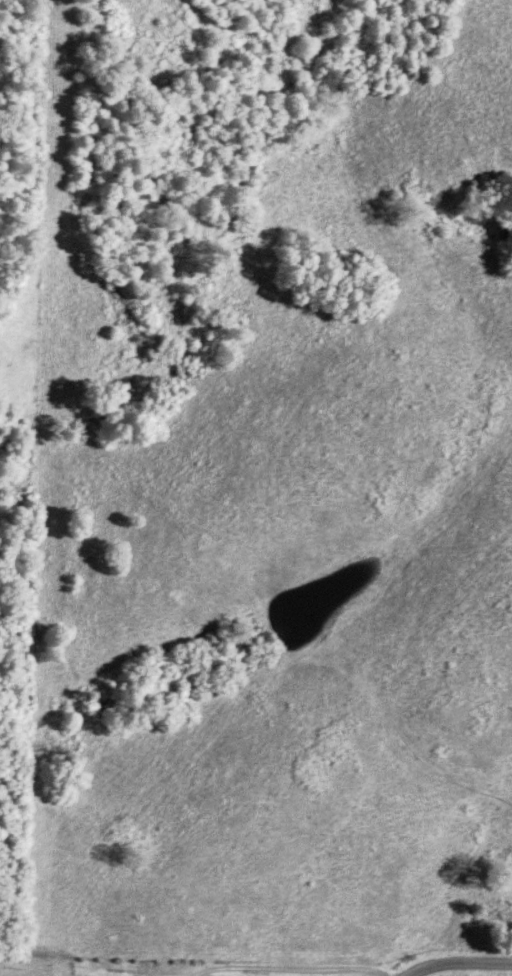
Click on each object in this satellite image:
road: (453, 960)
road: (287, 969)

